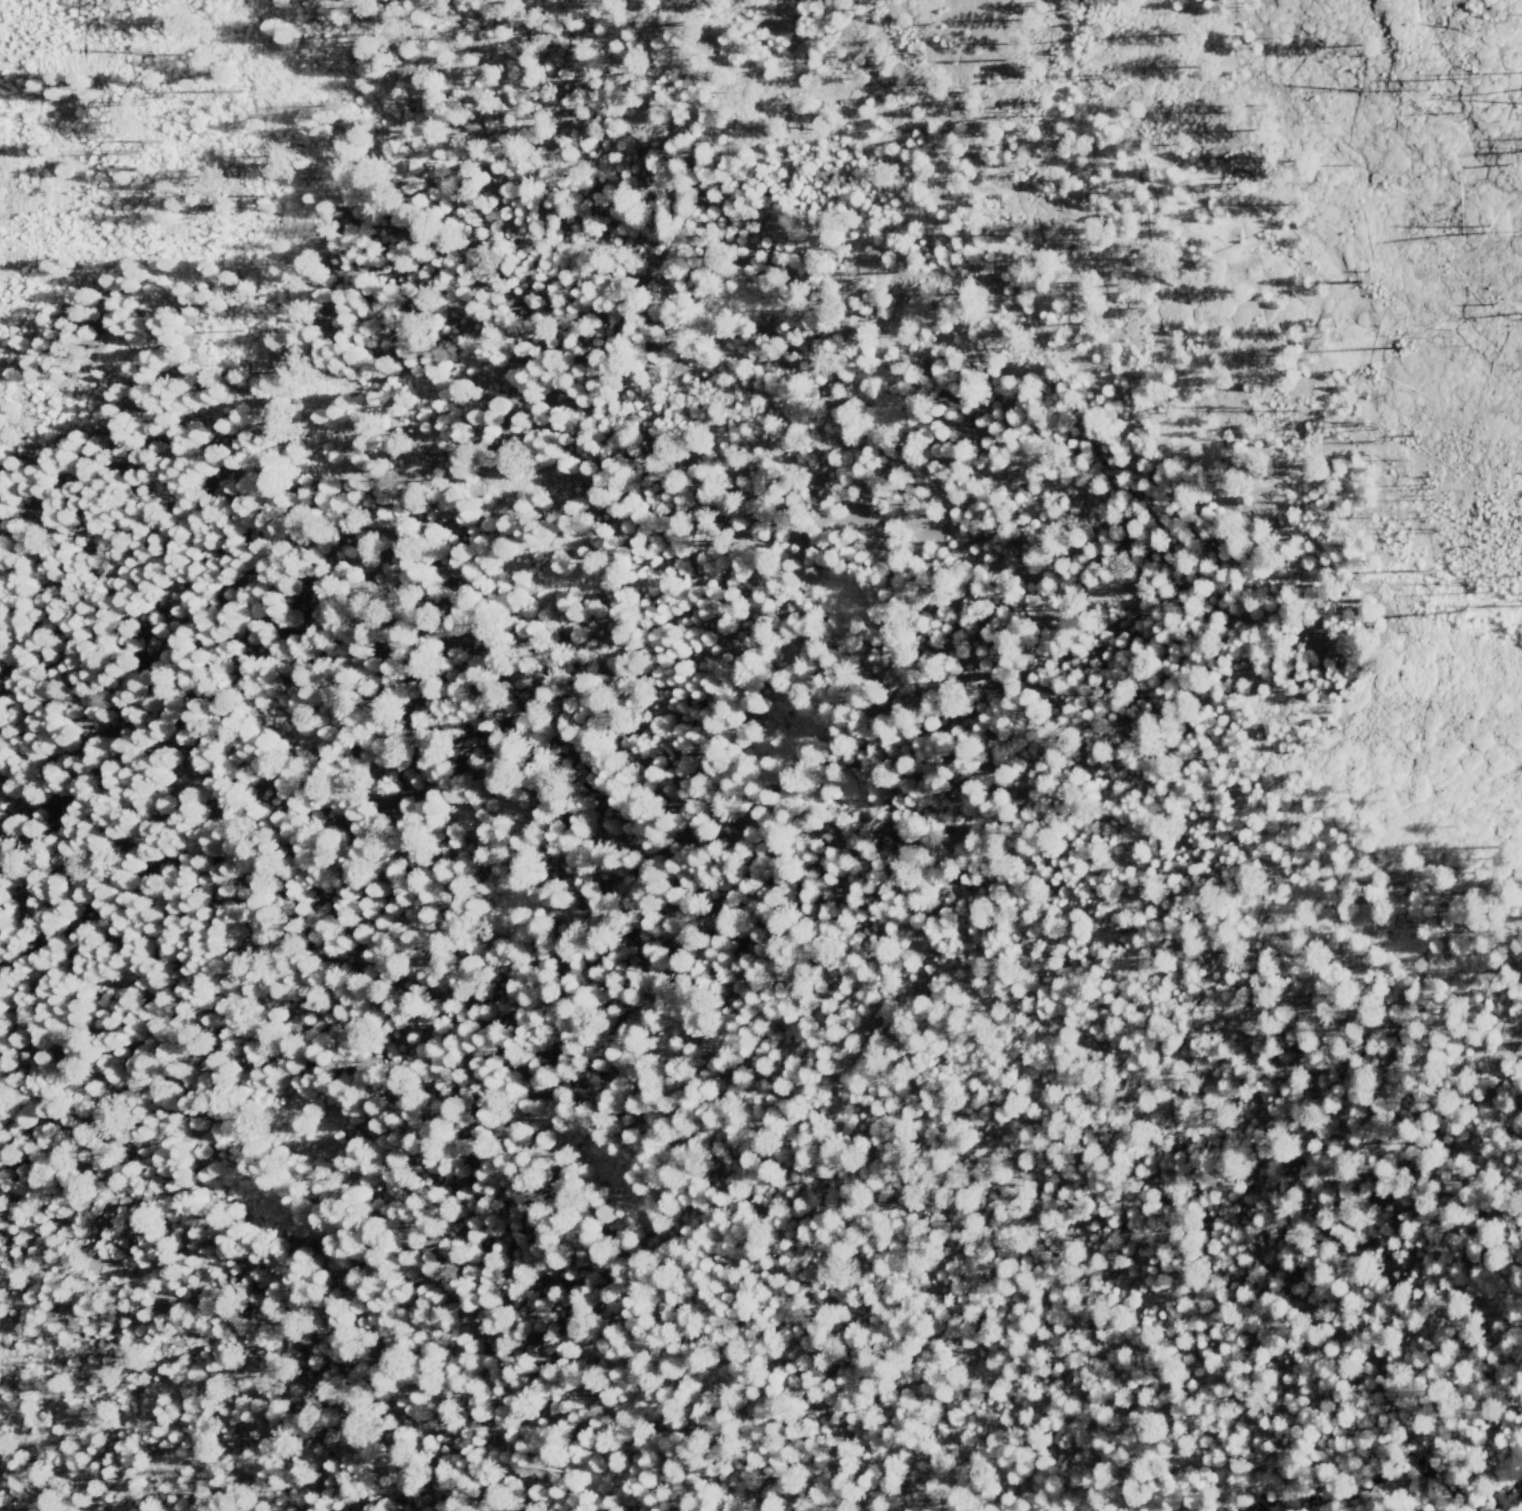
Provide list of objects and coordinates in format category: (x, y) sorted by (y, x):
road: (1201, 1320)

